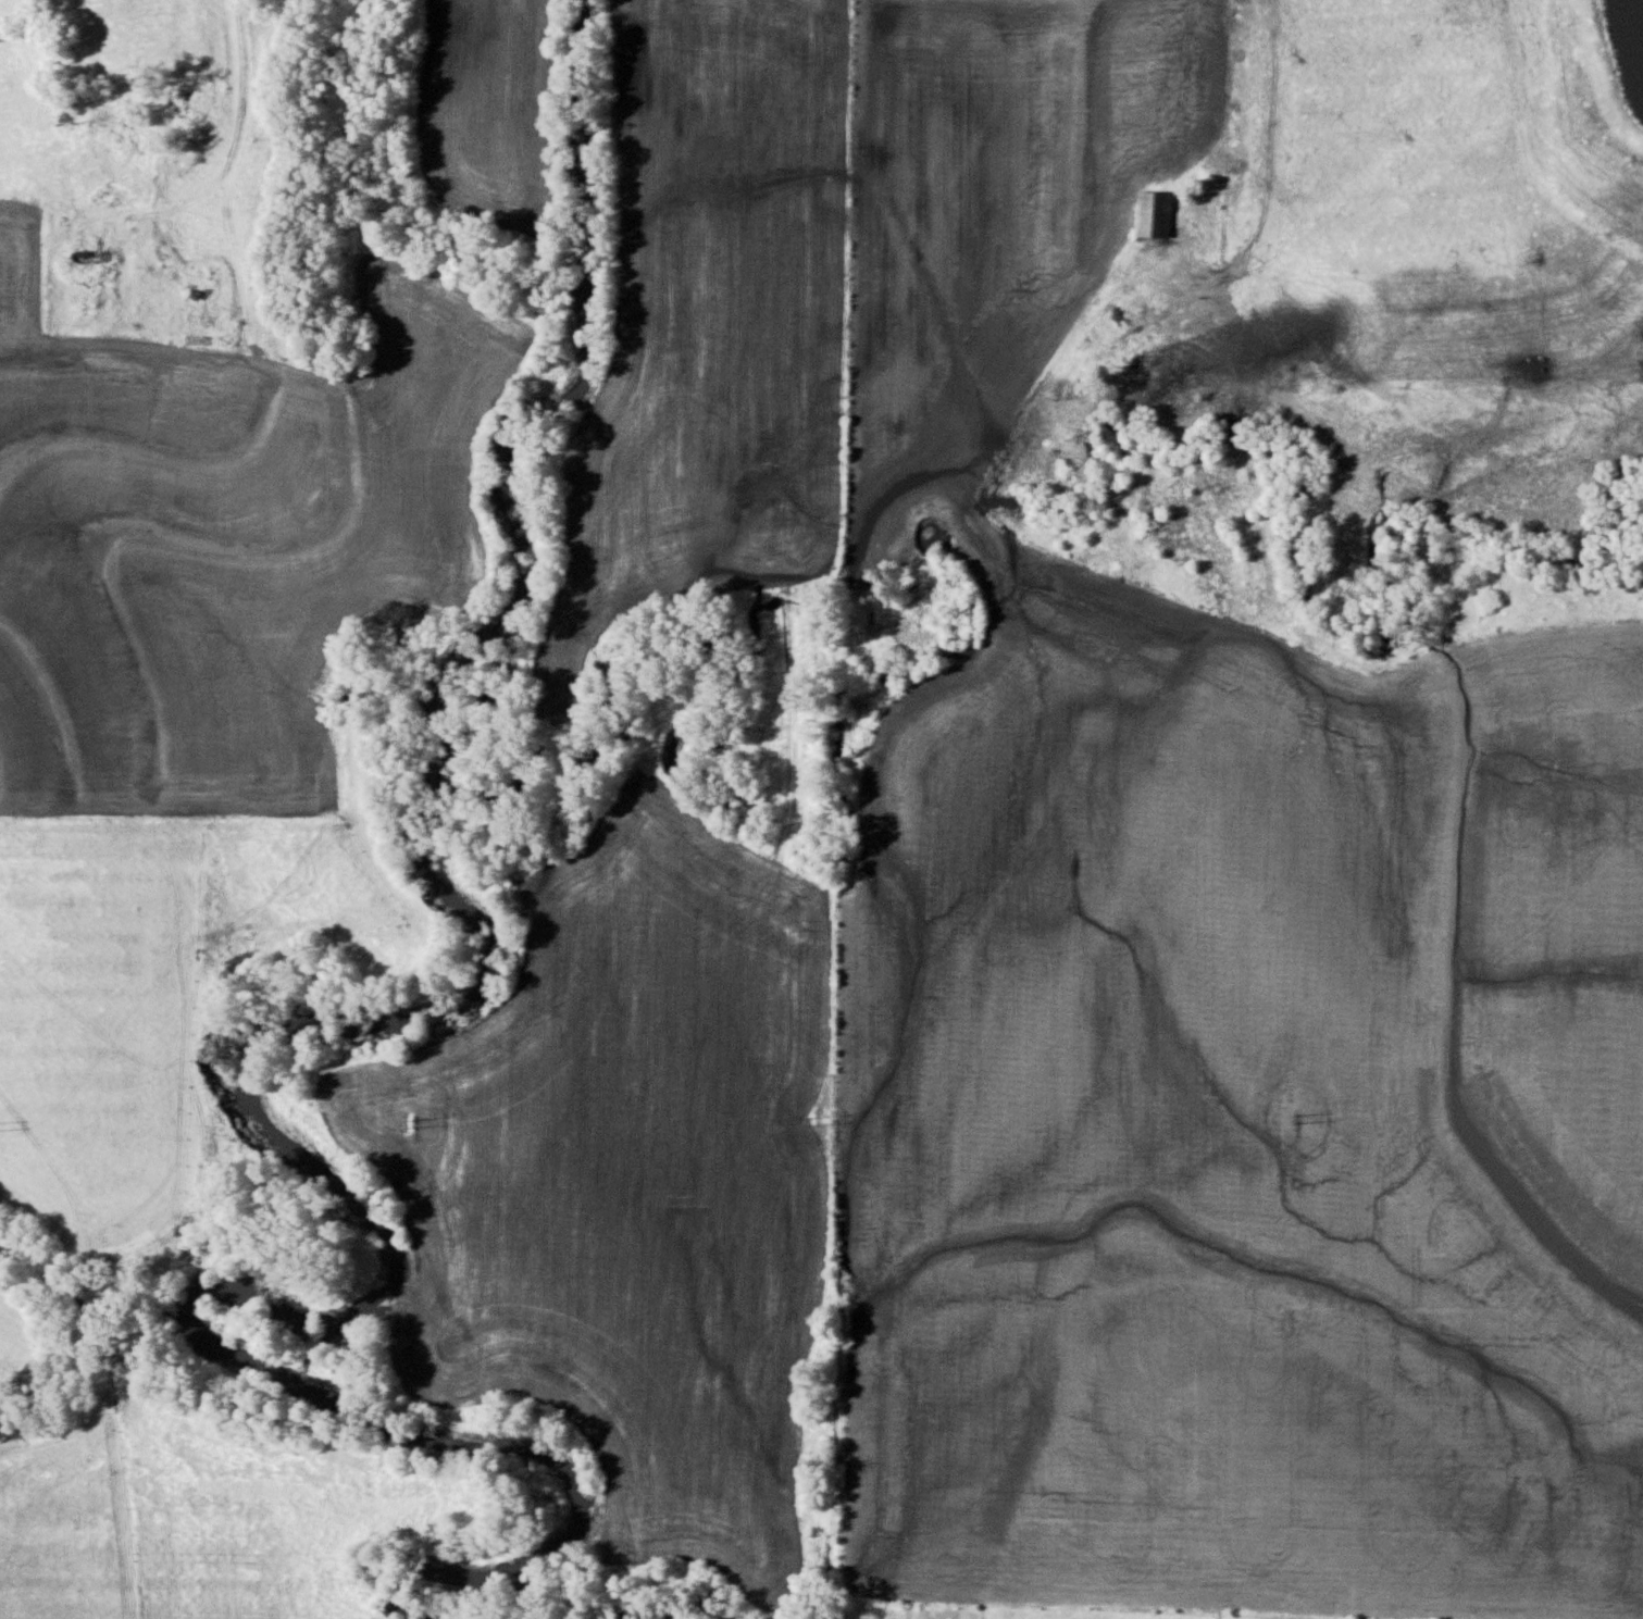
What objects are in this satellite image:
building: (183, 101)
road: (231, 123)
building: (1156, 215)
building: (198, 279)
power tower: (1295, 1120)
power tower: (810, 1121)
power tower: (411, 1124)

